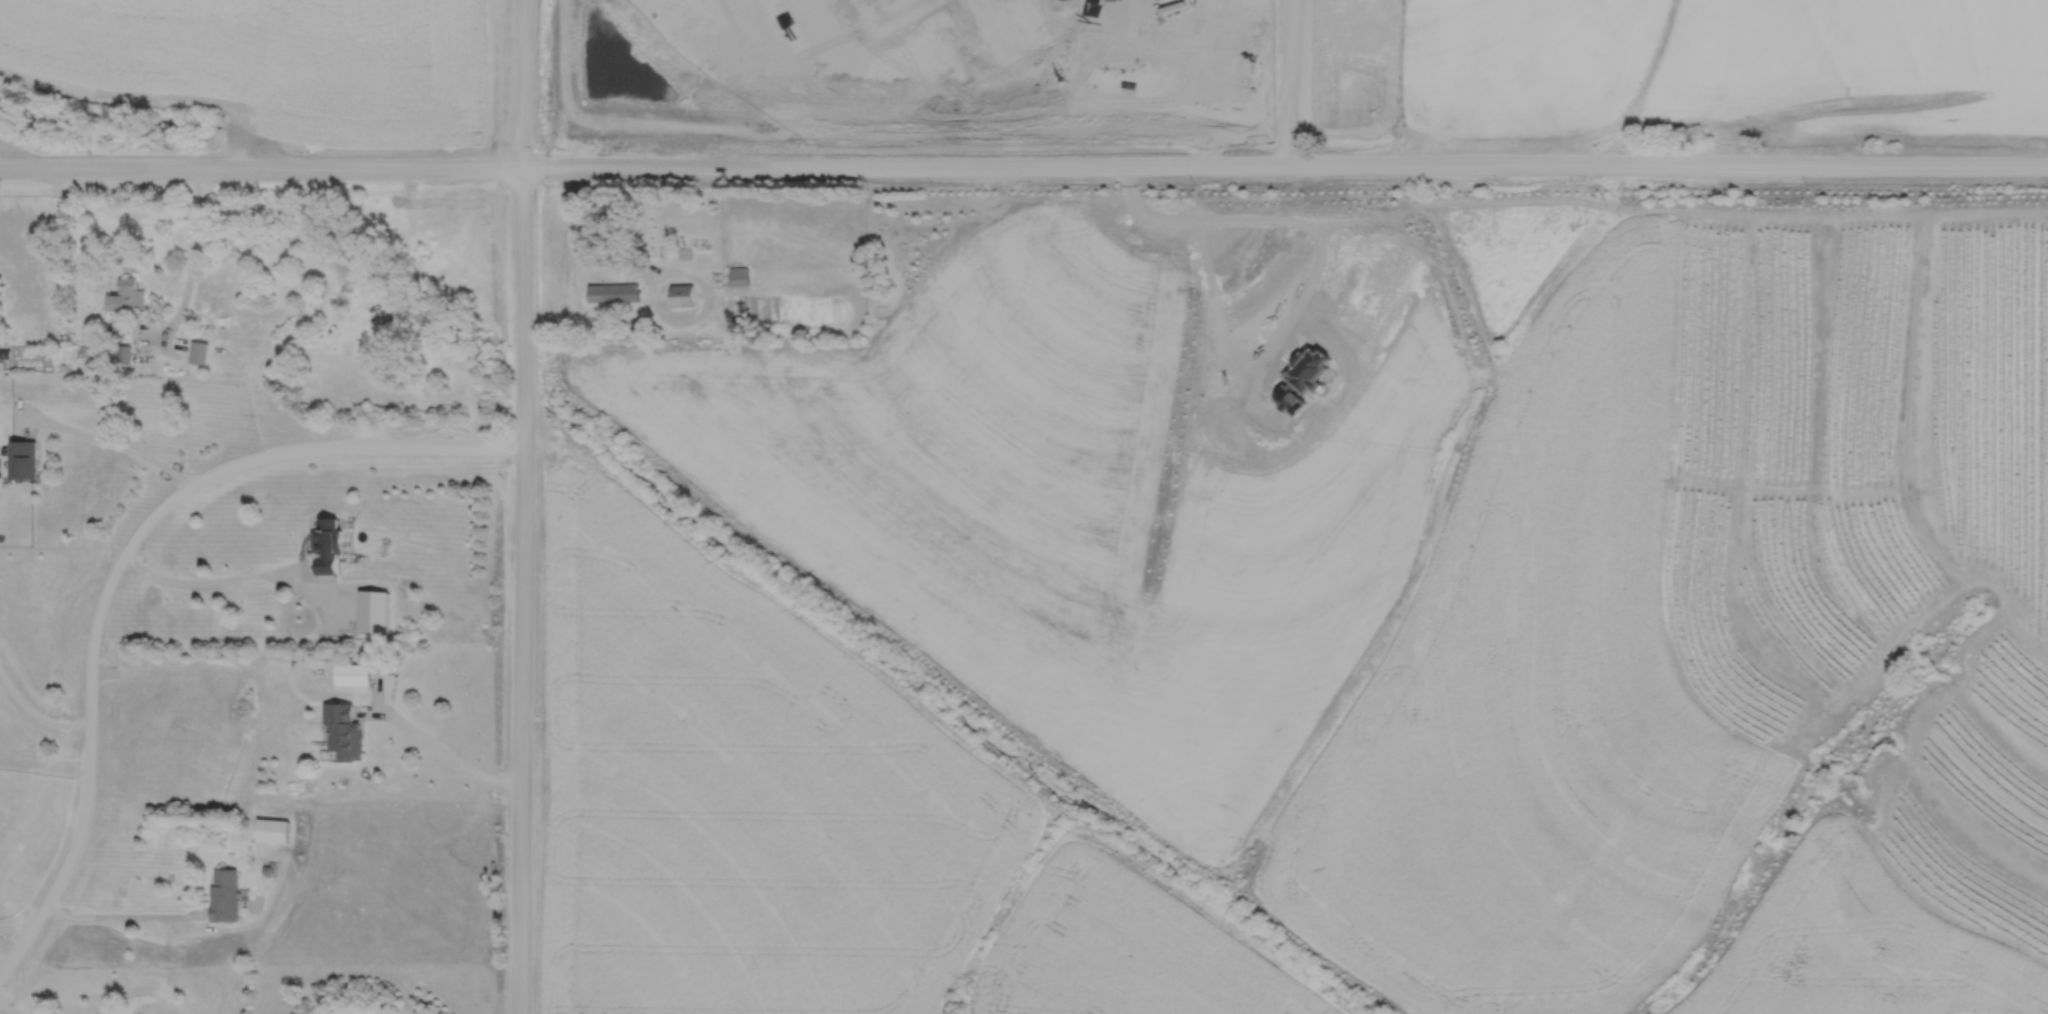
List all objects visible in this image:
road: (1189, 6)
building: (889, 9)
road: (1287, 21)
building: (1007, 22)
road: (1111, 53)
crop: (275, 63)
crop: (1726, 64)
road: (521, 83)
road: (1228, 85)
road: (1287, 103)
road: (960, 164)
road: (1724, 164)
road: (261, 168)
building: (615, 221)
building: (663, 250)
building: (681, 253)
road: (190, 267)
building: (738, 275)
road: (649, 284)
road: (1302, 290)
building: (612, 291)
building: (682, 294)
building: (126, 295)
building: (639, 326)
building: (11, 336)
building: (87, 350)
building: (198, 350)
building: (123, 353)
road: (106, 440)
road: (351, 446)
building: (23, 459)
building: (328, 544)
road: (246, 575)
road: (521, 589)
building: (373, 611)
building: (352, 674)
road: (35, 714)
road: (89, 725)
building: (344, 732)
road: (430, 740)
building: (272, 828)
building: (266, 868)
building: (223, 894)
road: (125, 915)
road: (250, 922)
road: (12, 930)
road: (156, 1004)
road: (9, 1009)

